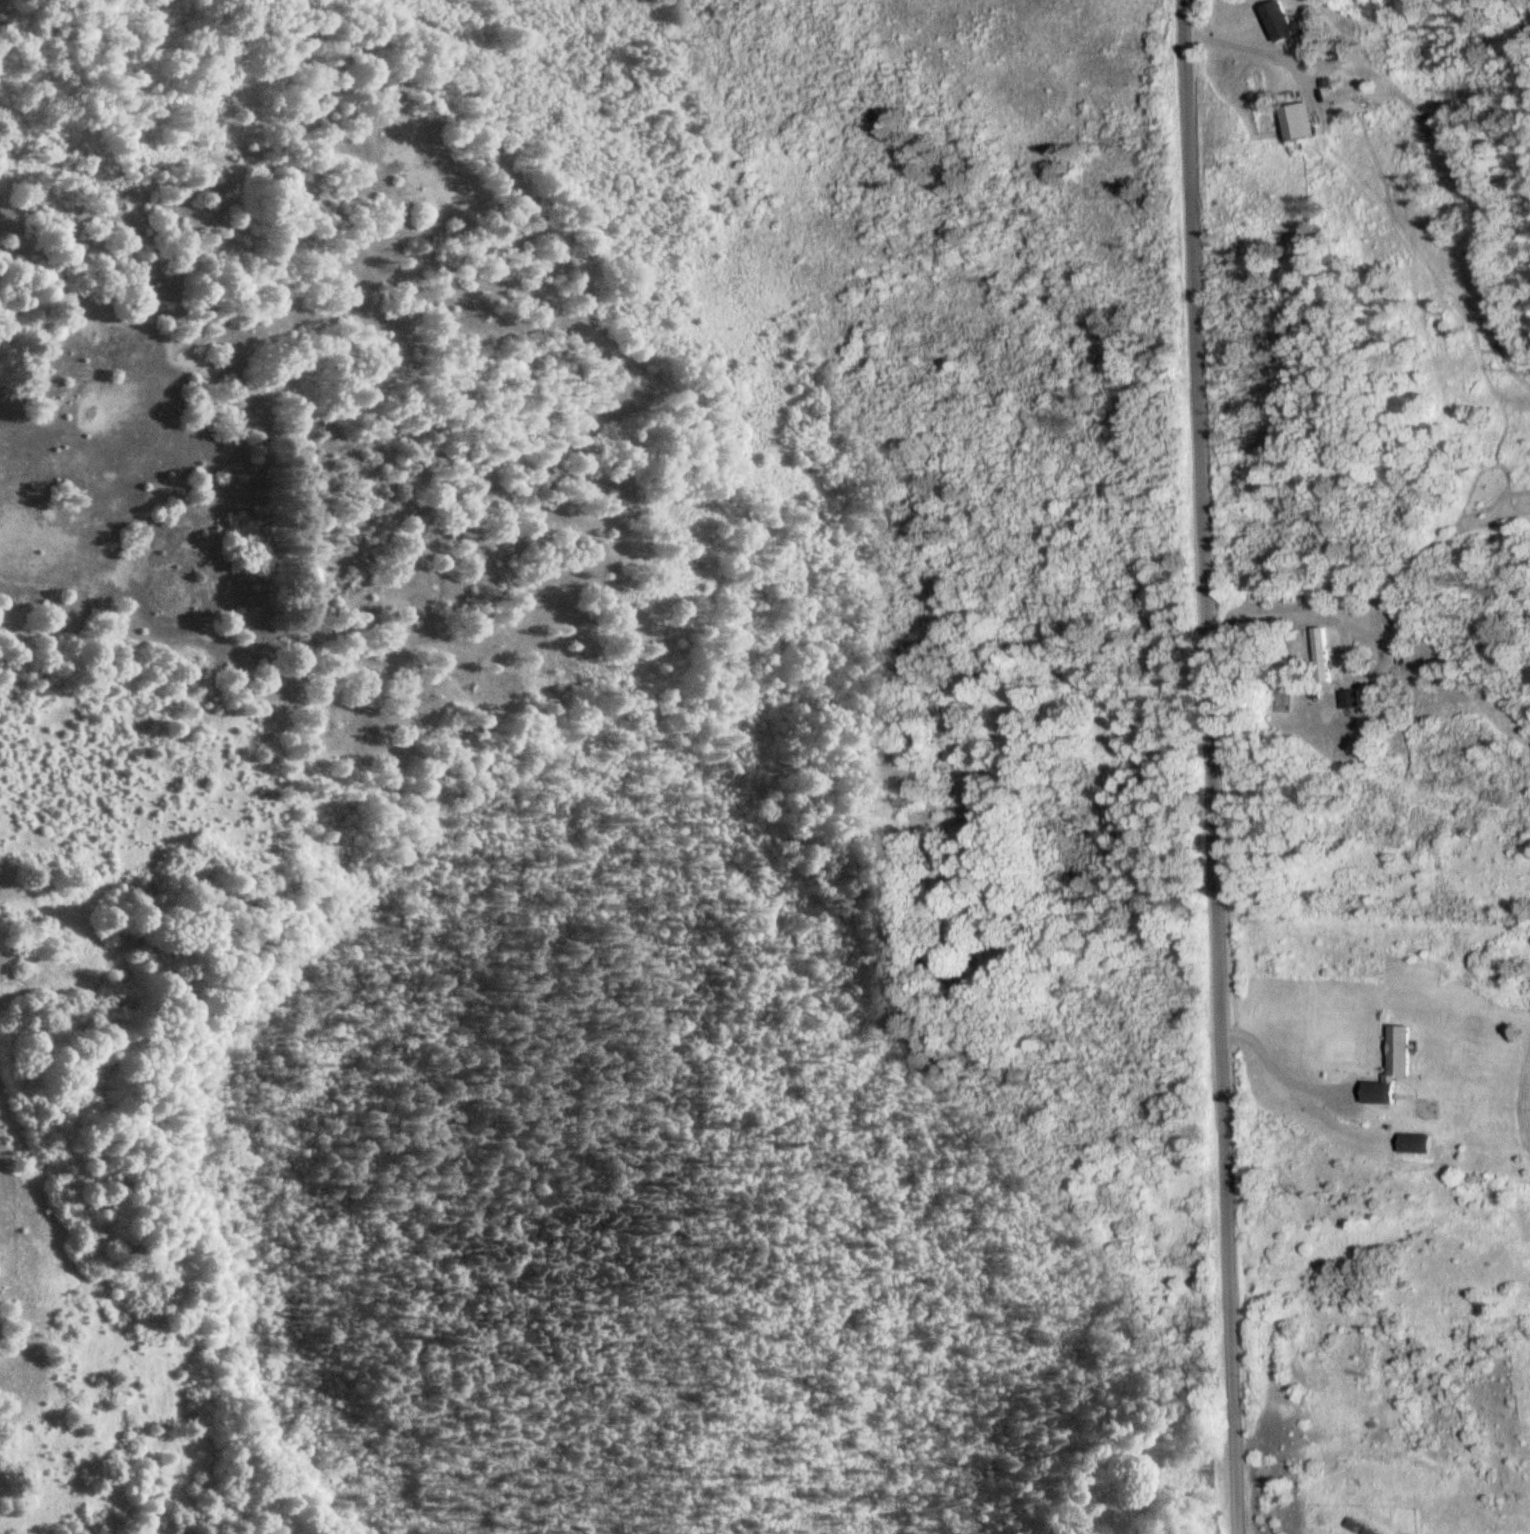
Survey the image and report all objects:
building: (1284, 24)
building: (1298, 120)
building: (1323, 655)
building: (1352, 699)
road: (1210, 767)
building: (1392, 1067)
building: (1416, 1143)

